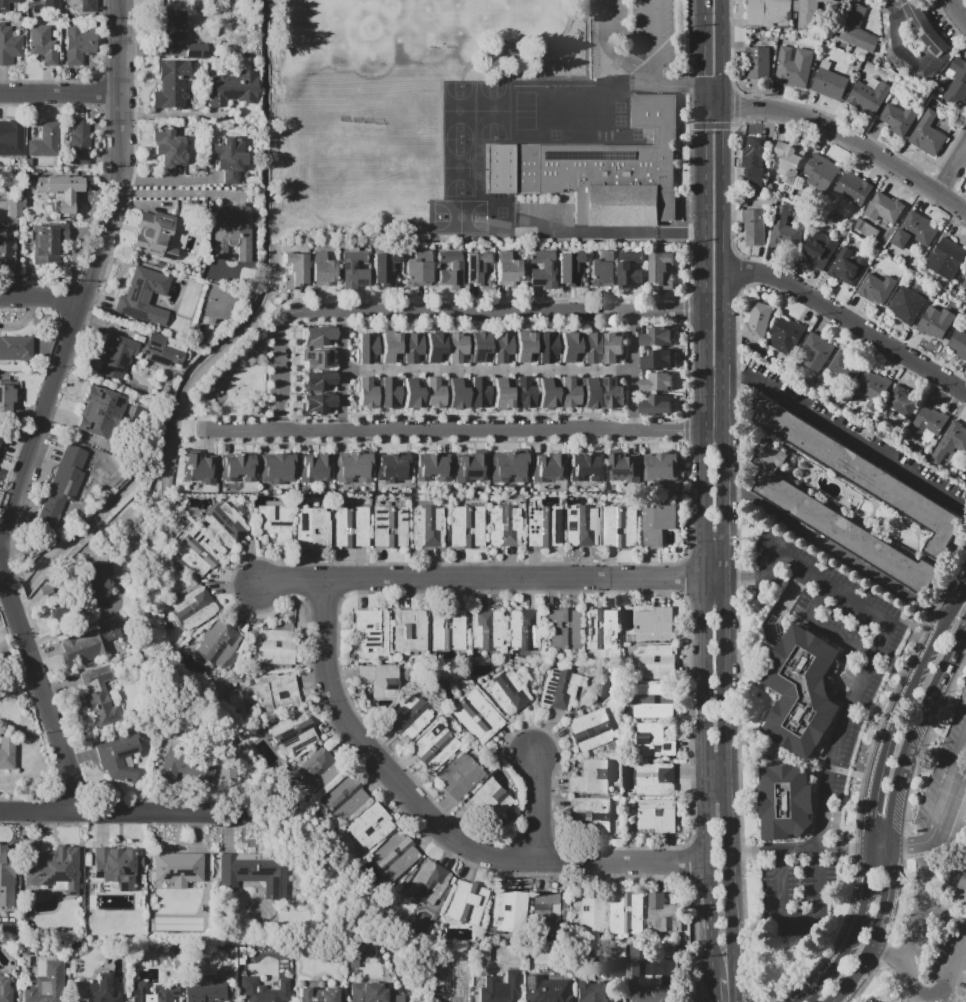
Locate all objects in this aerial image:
building: (51, 3)
building: (87, 6)
building: (3, 7)
road: (957, 12)
building: (768, 13)
building: (806, 15)
building: (173, 26)
park: (523, 28)
building: (856, 28)
building: (924, 29)
park: (368, 35)
parking lot: (639, 35)
building: (901, 43)
building: (7, 44)
building: (41, 44)
building: (78, 44)
road: (704, 44)
building: (196, 49)
road: (722, 53)
building: (756, 62)
building: (793, 67)
traffic signals: (704, 75)
road: (642, 79)
road: (88, 80)
building: (957, 82)
building: (829, 83)
building: (170, 84)
road: (676, 87)
road: (62, 89)
building: (231, 89)
road: (703, 97)
road: (106, 98)
building: (864, 99)
traffic signals: (739, 106)
road: (713, 107)
road: (690, 112)
road: (171, 113)
building: (899, 119)
traffic signals: (723, 130)
building: (928, 135)
road: (852, 138)
building: (12, 139)
building: (44, 140)
building: (79, 144)
road: (106, 146)
building: (172, 147)
building: (752, 150)
building: (228, 159)
building: (786, 159)
building: (821, 169)
road: (952, 169)
building: (598, 170)
road: (169, 179)
building: (853, 187)
road: (723, 189)
building: (59, 191)
building: (13, 208)
road: (703, 208)
building: (883, 208)
building: (752, 227)
building: (866, 229)
building: (913, 230)
building: (782, 231)
building: (152, 235)
building: (231, 235)
building: (48, 242)
building: (6, 247)
building: (814, 253)
building: (945, 258)
building: (381, 265)
building: (566, 265)
building: (847, 265)
building: (294, 267)
building: (352, 267)
building: (475, 267)
building: (660, 267)
building: (447, 268)
building: (601, 268)
road: (94, 270)
building: (540, 270)
building: (322, 271)
building: (629, 271)
building: (506, 272)
building: (416, 273)
building: (964, 283)
building: (875, 288)
road: (43, 296)
building: (143, 297)
road: (638, 298)
road: (389, 299)
building: (907, 303)
road: (492, 310)
road: (637, 321)
building: (758, 321)
road: (847, 321)
road: (484, 324)
building: (932, 324)
building: (316, 334)
building: (785, 334)
building: (656, 335)
building: (957, 343)
building: (477, 344)
building: (567, 344)
building: (365, 345)
building: (387, 345)
building: (432, 345)
building: (500, 345)
building: (522, 345)
building: (410, 346)
building: (455, 346)
building: (590, 346)
building: (612, 346)
building: (817, 346)
building: (15, 347)
building: (544, 347)
building: (165, 348)
building: (116, 355)
building: (315, 357)
building: (657, 359)
building: (845, 364)
road: (269, 368)
road: (632, 369)
road: (342, 371)
road: (487, 371)
road: (278, 375)
building: (316, 379)
building: (656, 381)
building: (873, 383)
building: (612, 391)
building: (365, 392)
building: (386, 392)
building: (567, 392)
building: (589, 392)
building: (432, 393)
building: (522, 393)
road: (264, 394)
building: (410, 394)
building: (453, 394)
building: (476, 394)
building: (499, 394)
building: (545, 395)
building: (4, 398)
building: (902, 401)
building: (320, 403)
building: (657, 404)
road: (260, 409)
road: (245, 410)
building: (100, 412)
road: (432, 416)
road: (234, 417)
building: (928, 423)
road: (724, 424)
road: (841, 428)
road: (456, 430)
road: (207, 441)
road: (662, 441)
road: (335, 442)
road: (501, 442)
building: (949, 442)
road: (706, 443)
building: (665, 467)
building: (585, 468)
building: (624, 468)
building: (470, 469)
building: (508, 469)
building: (548, 469)
building: (965, 469)
building: (353, 470)
building: (430, 470)
building: (236, 471)
building: (276, 471)
building: (392, 471)
building: (314, 472)
building: (194, 473)
building: (862, 473)
building: (61, 483)
building: (273, 521)
building: (224, 523)
building: (837, 523)
building: (581, 525)
building: (655, 525)
building: (389, 526)
building: (426, 526)
building: (465, 526)
building: (504, 526)
building: (542, 526)
building: (620, 526)
building: (350, 527)
building: (312, 528)
road: (836, 550)
building: (195, 552)
road: (716, 578)
building: (99, 579)
road: (482, 579)
road: (761, 579)
building: (45, 589)
road: (783, 600)
building: (191, 608)
building: (57, 611)
building: (654, 623)
road: (825, 626)
road: (75, 627)
building: (562, 627)
building: (409, 629)
building: (522, 629)
building: (602, 629)
building: (370, 630)
building: (446, 630)
building: (486, 630)
building: (89, 643)
building: (217, 644)
building: (274, 645)
building: (653, 662)
road: (920, 670)
building: (379, 683)
road: (937, 686)
building: (651, 688)
building: (508, 689)
building: (557, 689)
road: (43, 690)
building: (800, 690)
building: (274, 693)
building: (98, 694)
building: (653, 707)
building: (475, 716)
building: (408, 717)
building: (591, 729)
building: (291, 734)
building: (653, 740)
building: (434, 745)
road: (839, 746)
building: (6, 752)
building: (117, 757)
road: (904, 760)
building: (186, 766)
building: (315, 769)
building: (226, 773)
building: (459, 775)
building: (589, 777)
building: (652, 779)
road: (720, 782)
road: (732, 789)
road: (709, 790)
road: (947, 793)
building: (341, 796)
building: (483, 801)
building: (783, 801)
road: (868, 805)
road: (539, 808)
road: (41, 810)
building: (592, 811)
road: (893, 812)
road: (161, 813)
building: (656, 814)
road: (435, 824)
parking lot: (930, 824)
building: (369, 827)
road: (906, 830)
road: (906, 845)
road: (812, 850)
building: (393, 856)
building: (183, 865)
building: (53, 868)
building: (116, 869)
building: (254, 872)
road: (922, 874)
building: (6, 882)
building: (430, 885)
building: (961, 888)
road: (889, 890)
building: (466, 903)
building: (509, 911)
road: (920, 911)
building: (587, 912)
building: (626, 912)
building: (549, 913)
building: (663, 914)
road: (853, 934)
building: (359, 952)
road: (887, 953)
building: (615, 966)
road: (859, 969)
building: (631, 970)
building: (44, 983)
building: (499, 988)
building: (96, 989)
road: (941, 989)
building: (4, 990)
building: (546, 990)
building: (205, 991)
building: (256, 991)
building: (137, 992)
building: (453, 992)
building: (599, 992)
building: (368, 993)
building: (652, 994)
building: (318, 995)

